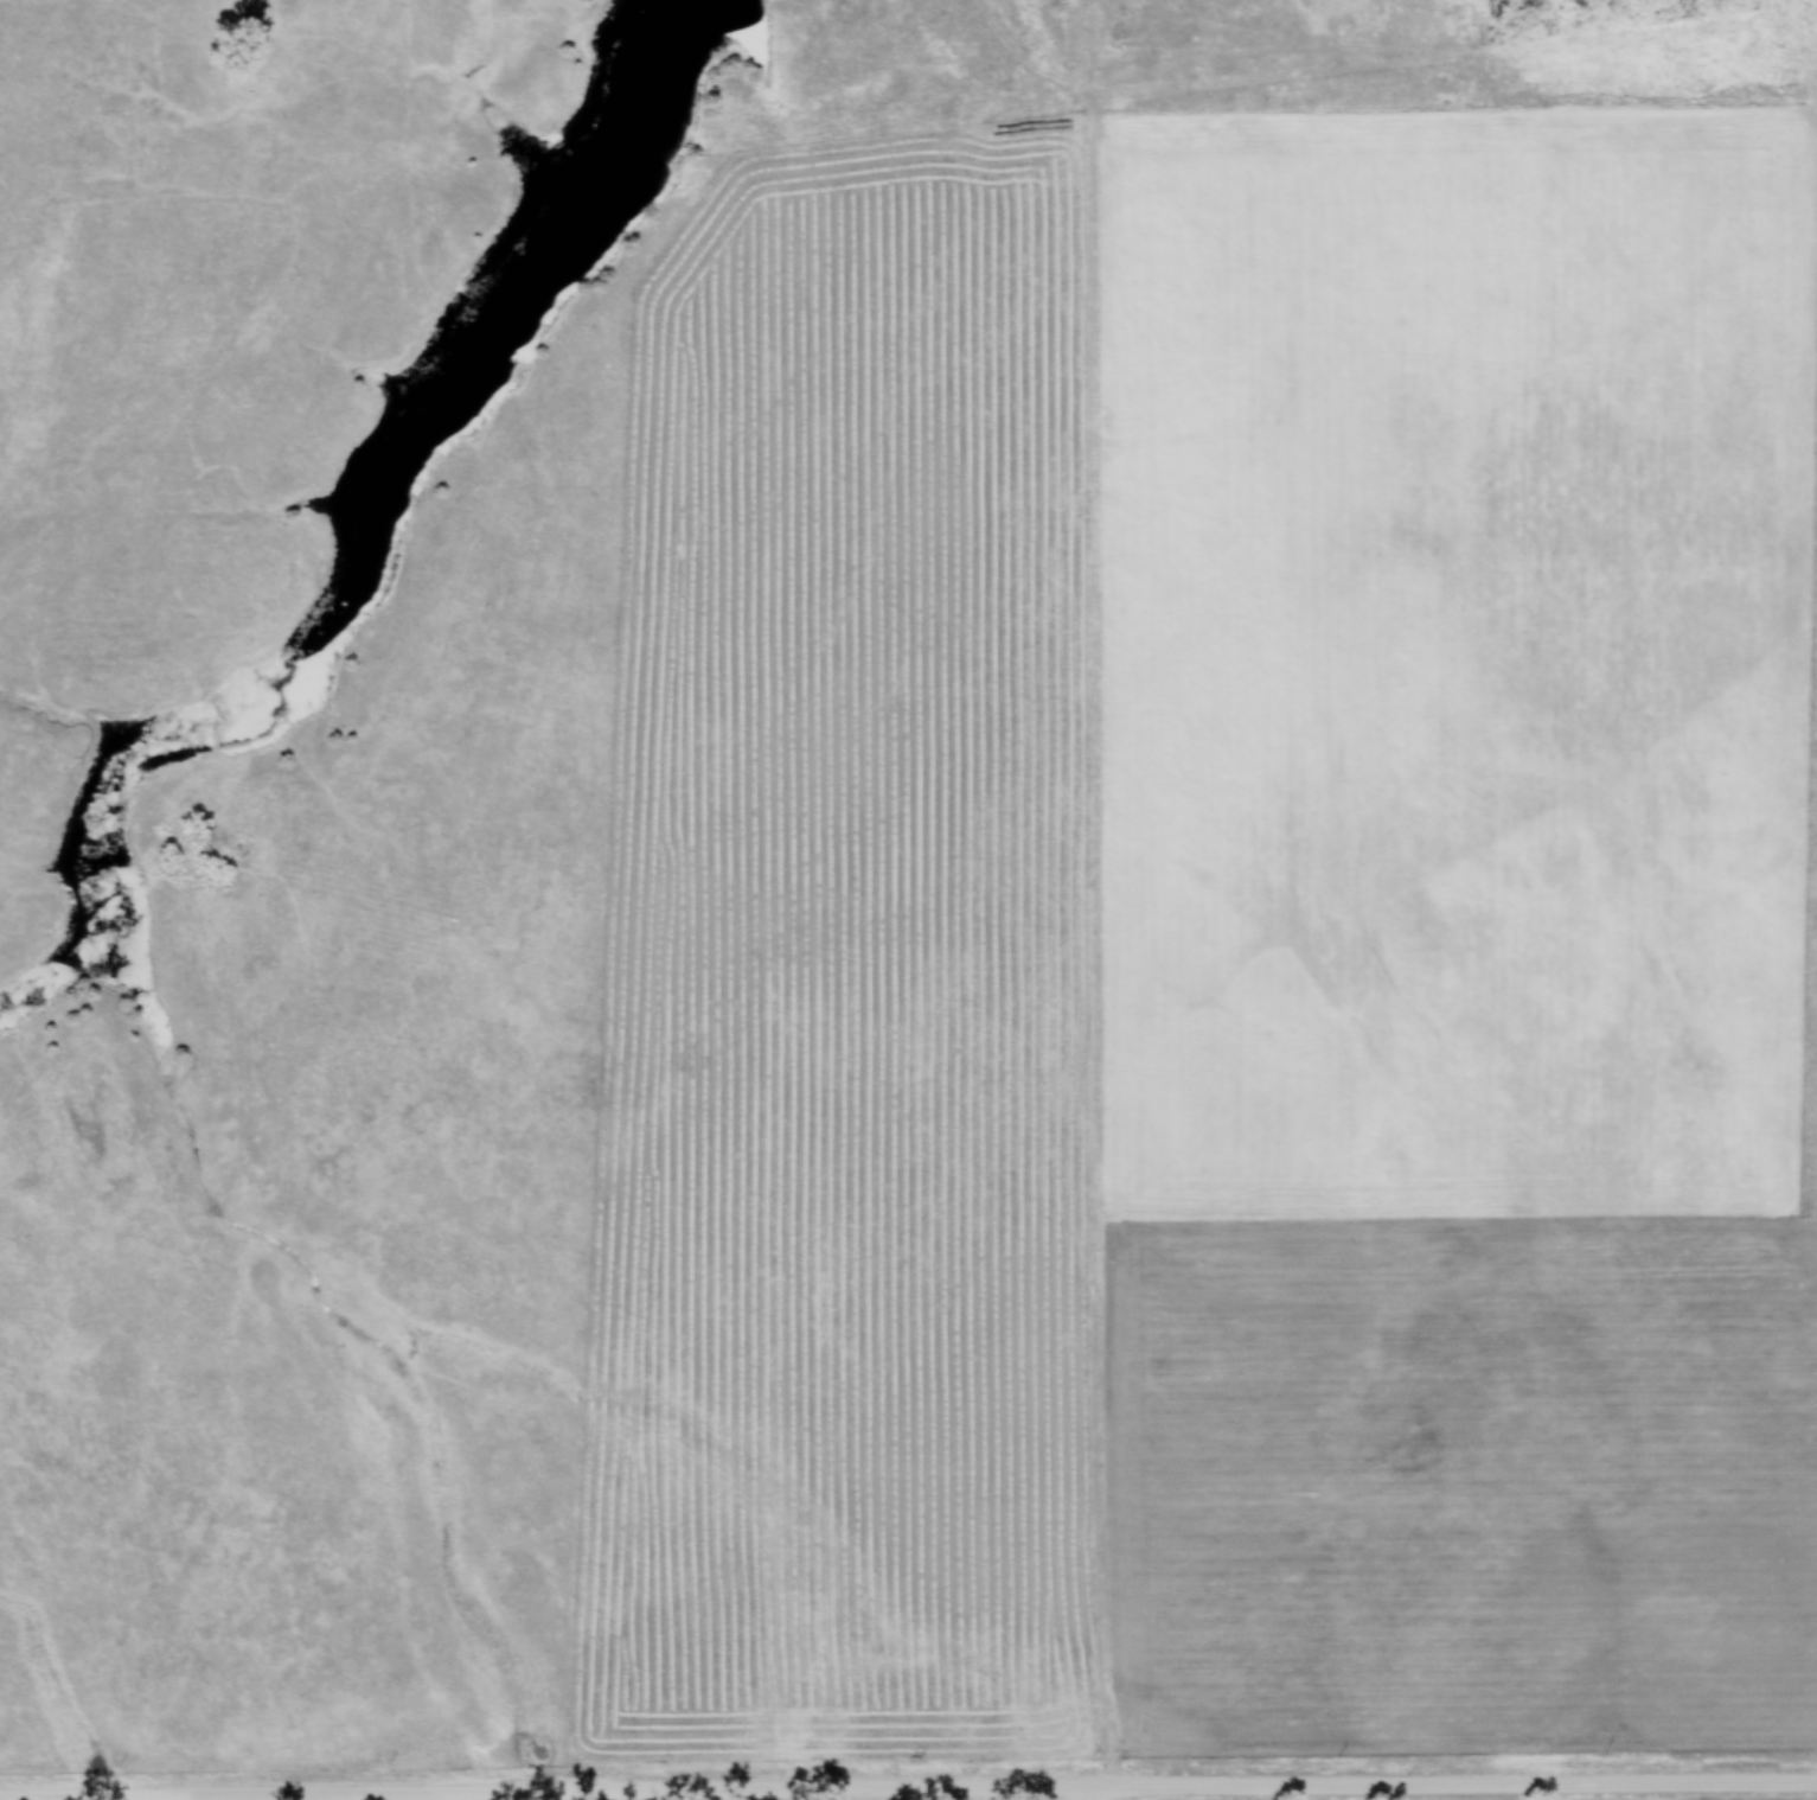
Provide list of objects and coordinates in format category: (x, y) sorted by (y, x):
road: (1337, 1796)
road: (1102, 1799)

